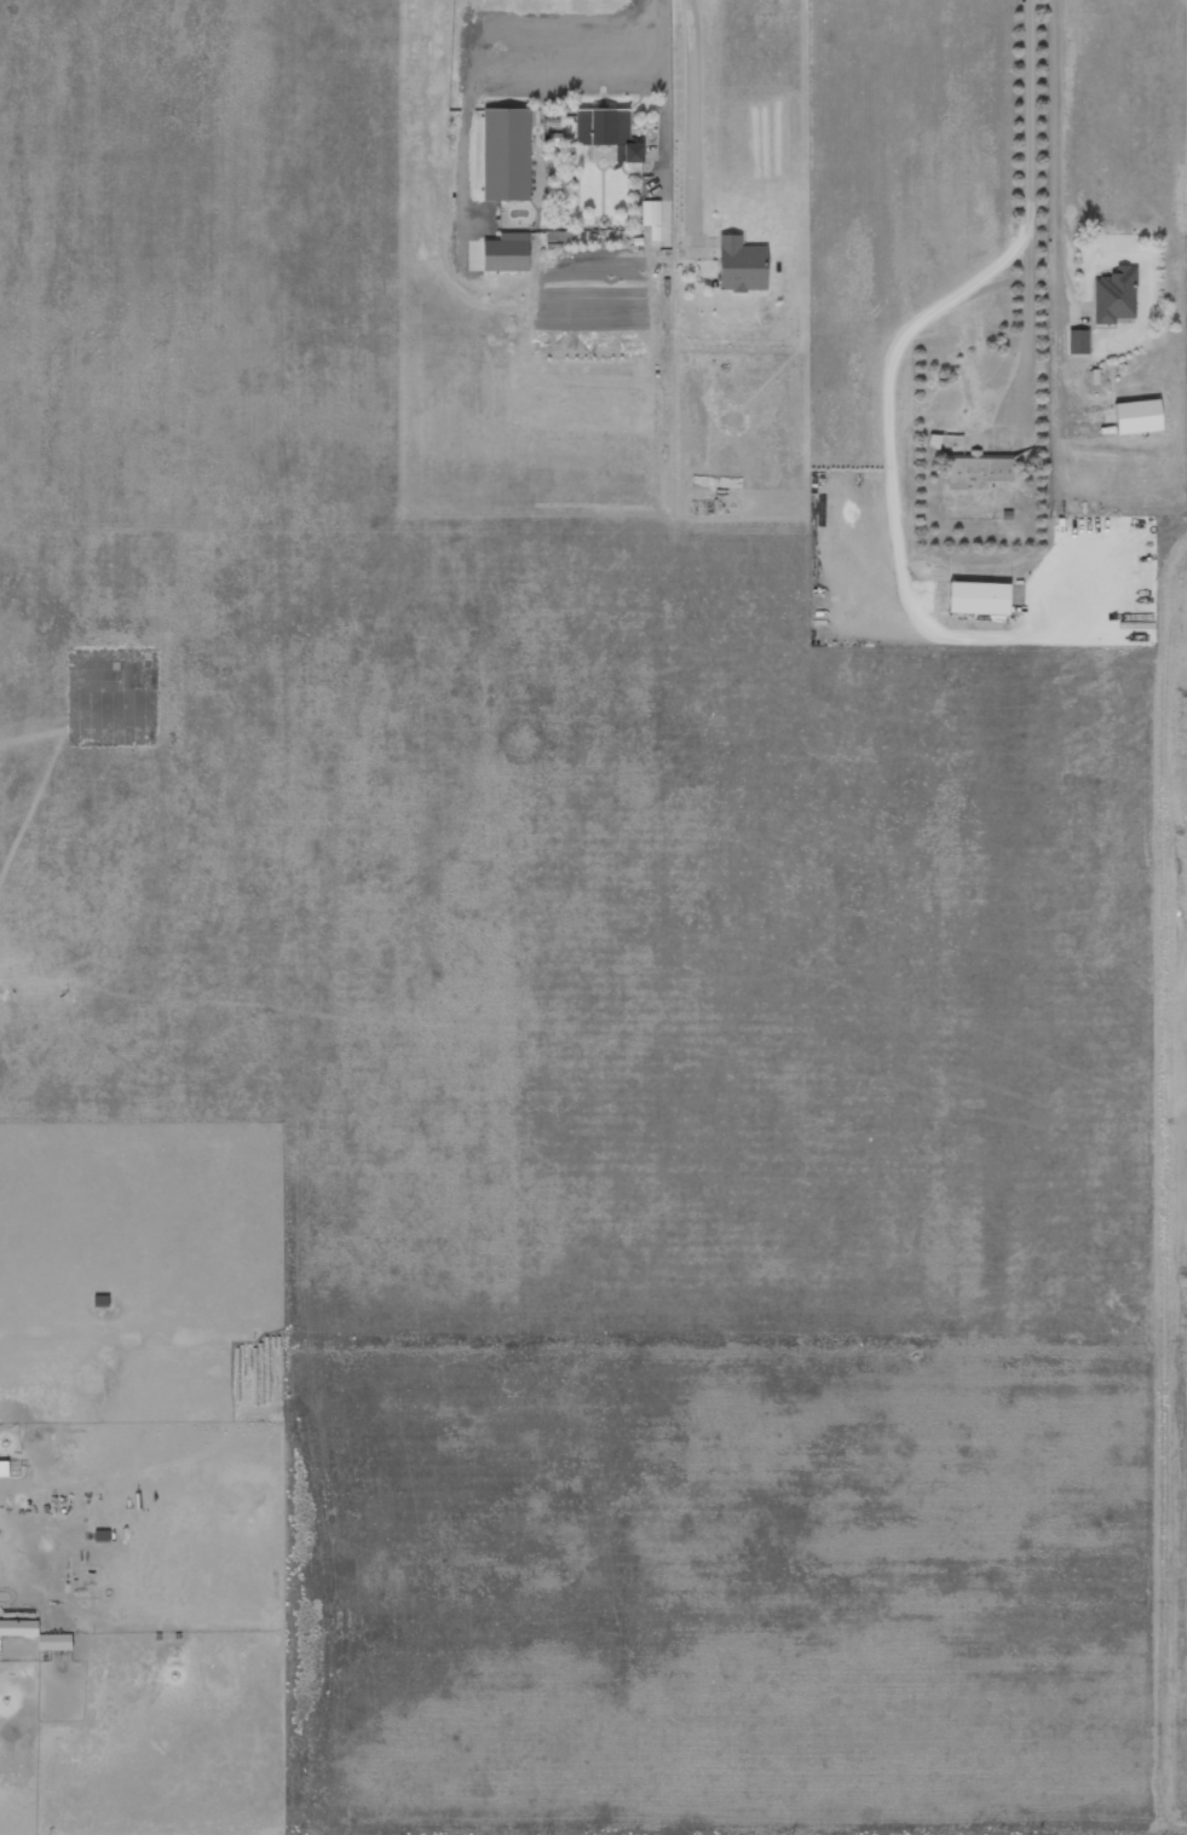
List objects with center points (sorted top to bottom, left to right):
building: (609, 133)
building: (505, 156)
building: (650, 214)
building: (506, 253)
building: (741, 266)
building: (1114, 296)
building: (1078, 342)
building: (1137, 417)
building: (978, 473)
building: (979, 599)
building: (4, 1470)
building: (54, 1643)

